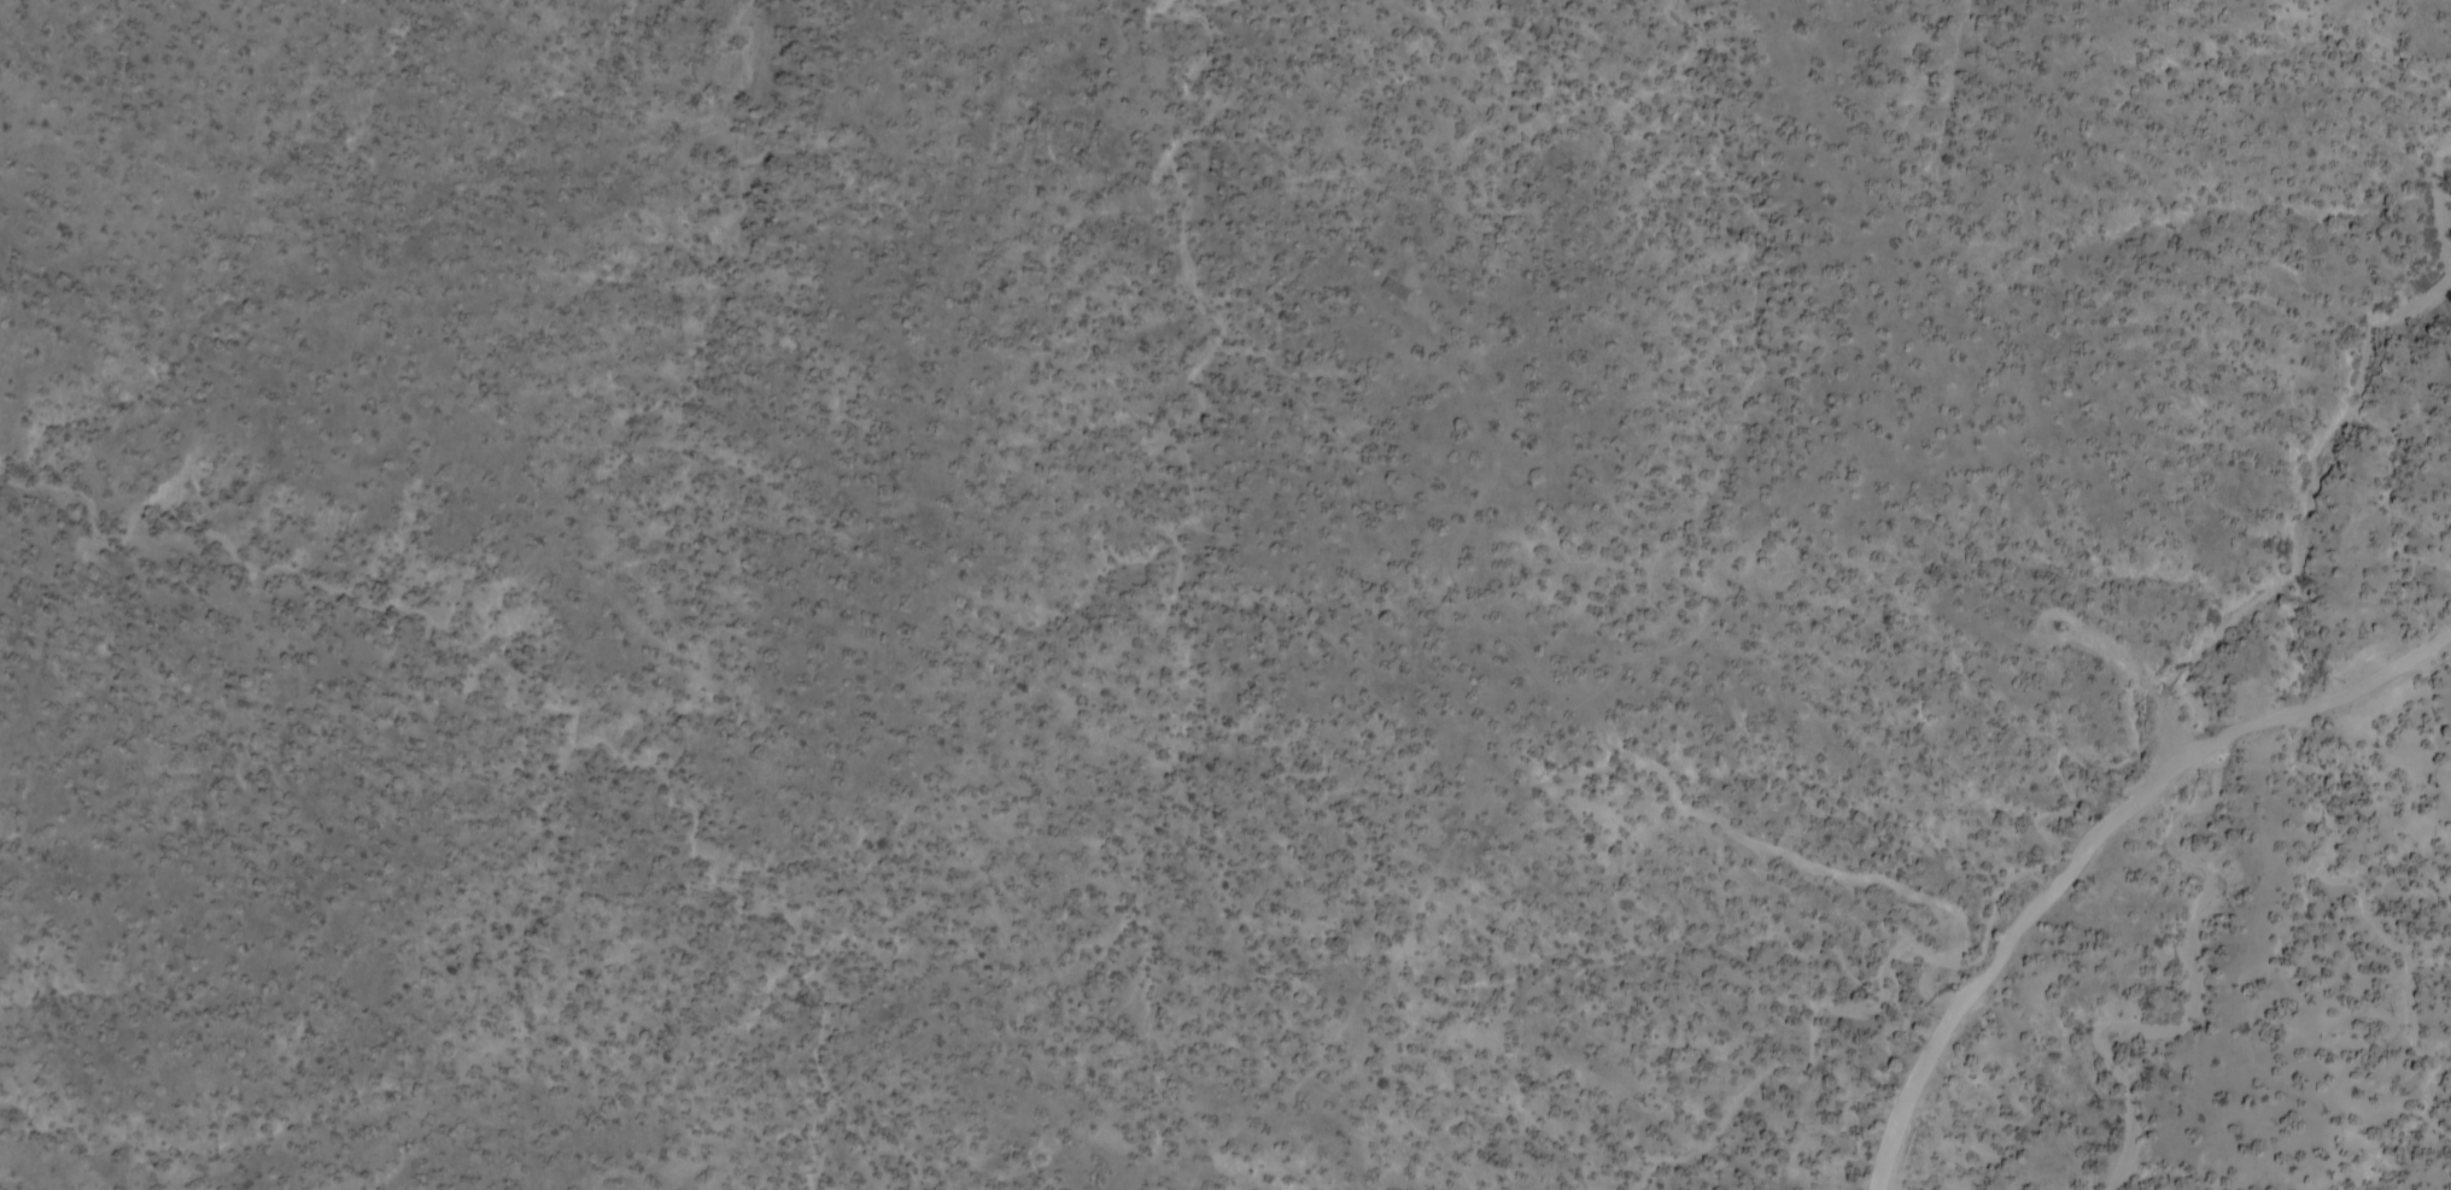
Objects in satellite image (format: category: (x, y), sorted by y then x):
road: (2094, 834)

